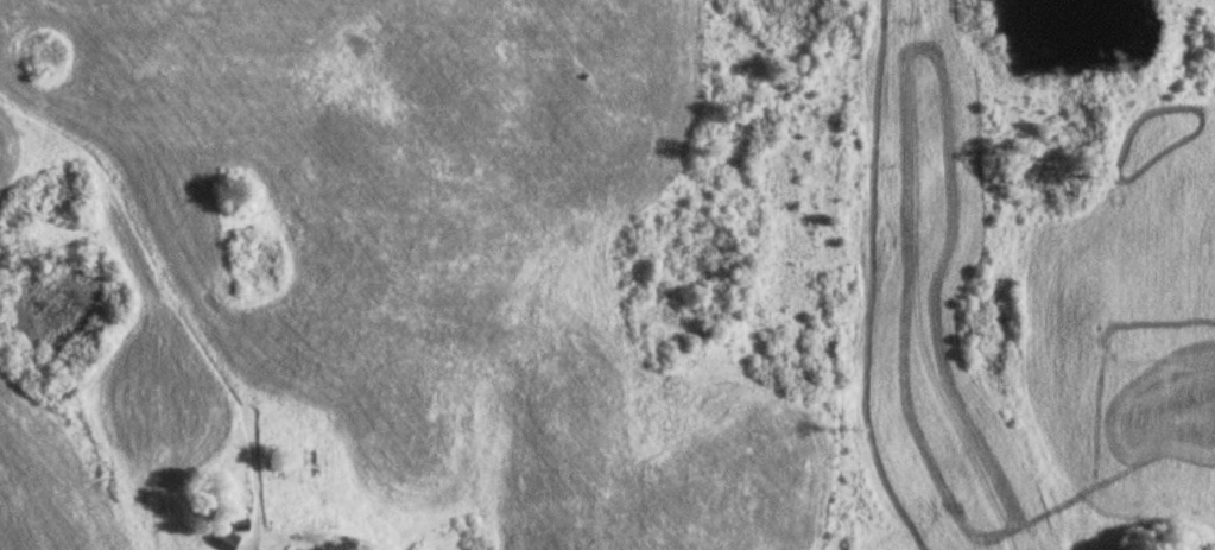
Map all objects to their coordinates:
building: (223, 540)

